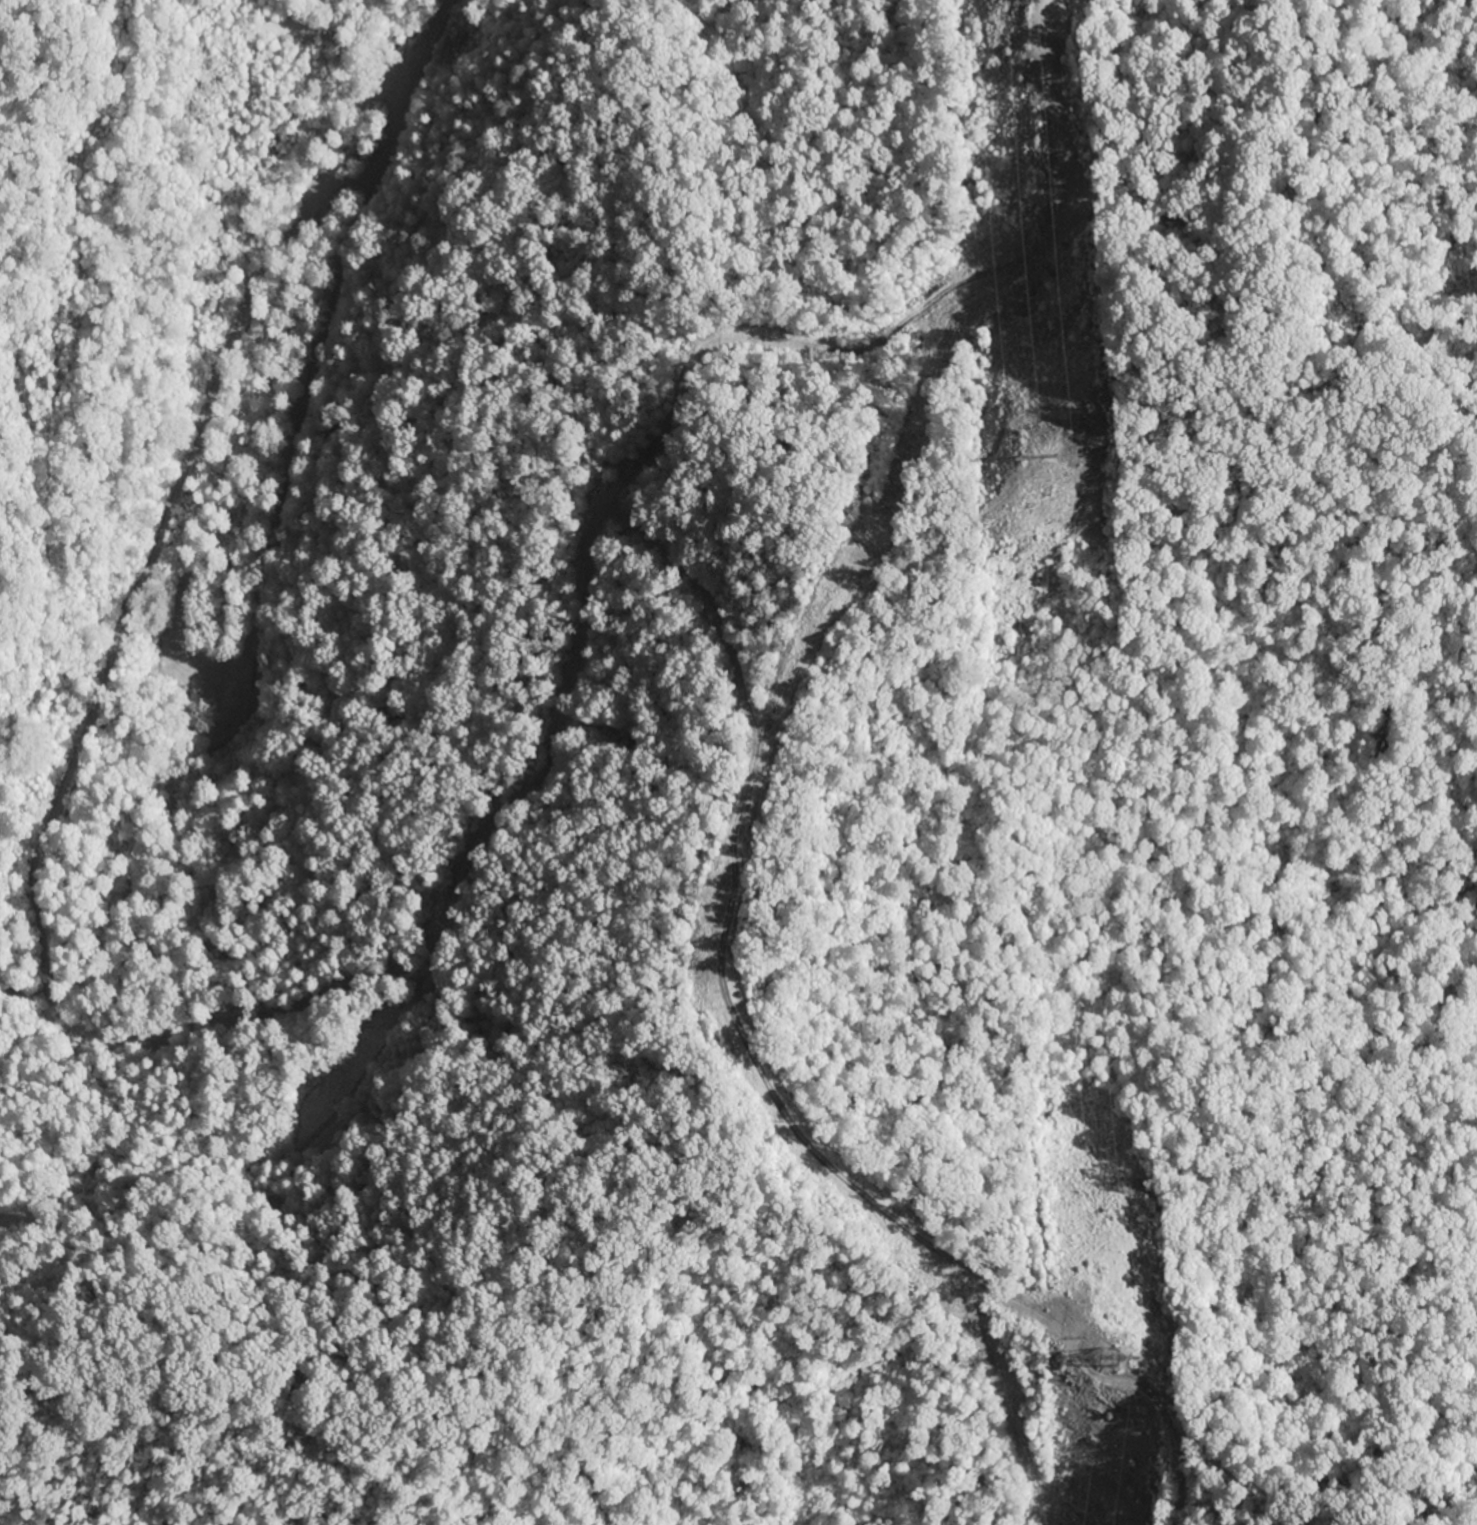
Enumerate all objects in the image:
road: (442, 74)
power tower: (1047, 472)
power tower: (1110, 1369)

